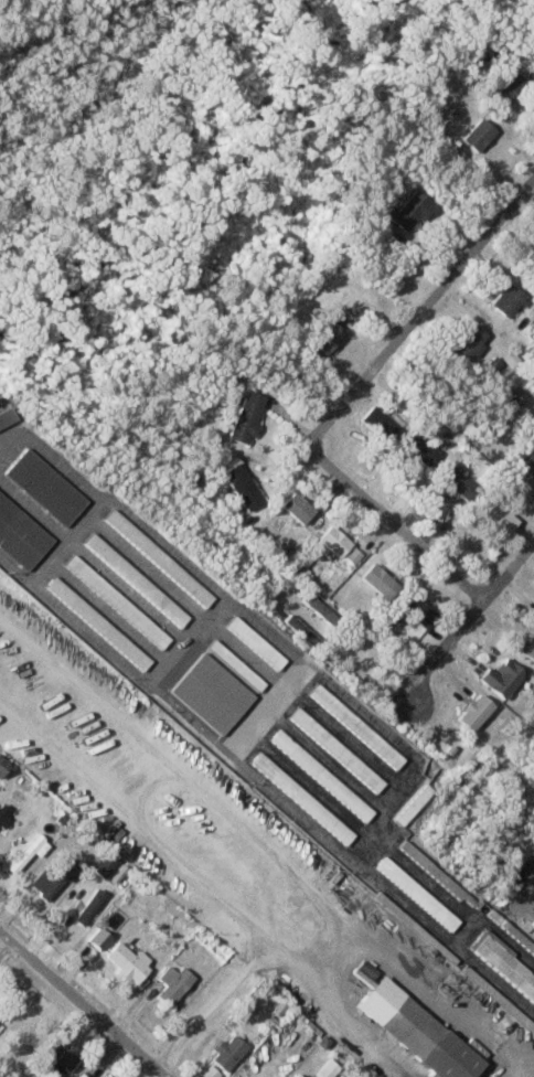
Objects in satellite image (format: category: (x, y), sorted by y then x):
building: (502, 88)
building: (476, 137)
building: (408, 212)
building: (505, 302)
building: (321, 341)
building: (466, 343)
building: (243, 418)
building: (4, 419)
building: (375, 425)
road: (320, 427)
building: (416, 450)
building: (526, 463)
building: (456, 484)
building: (237, 487)
building: (41, 488)
building: (295, 509)
building: (494, 516)
building: (19, 537)
building: (331, 542)
building: (156, 559)
building: (133, 580)
building: (377, 582)
building: (115, 603)
building: (417, 612)
building: (110, 638)
building: (254, 643)
building: (234, 665)
building: (501, 679)
building: (354, 727)
building: (334, 751)
building: (1, 766)
building: (319, 777)
building: (299, 800)
building: (412, 806)
building: (2, 814)
building: (25, 857)
building: (102, 865)
building: (435, 875)
building: (49, 883)
road: (526, 887)
building: (415, 895)
building: (532, 924)
building: (96, 940)
road: (457, 940)
road: (372, 947)
building: (126, 963)
building: (502, 968)
building: (171, 985)
road: (84, 1004)
building: (414, 1033)
building: (64, 1053)
building: (226, 1054)
building: (324, 1069)
building: (297, 1076)

